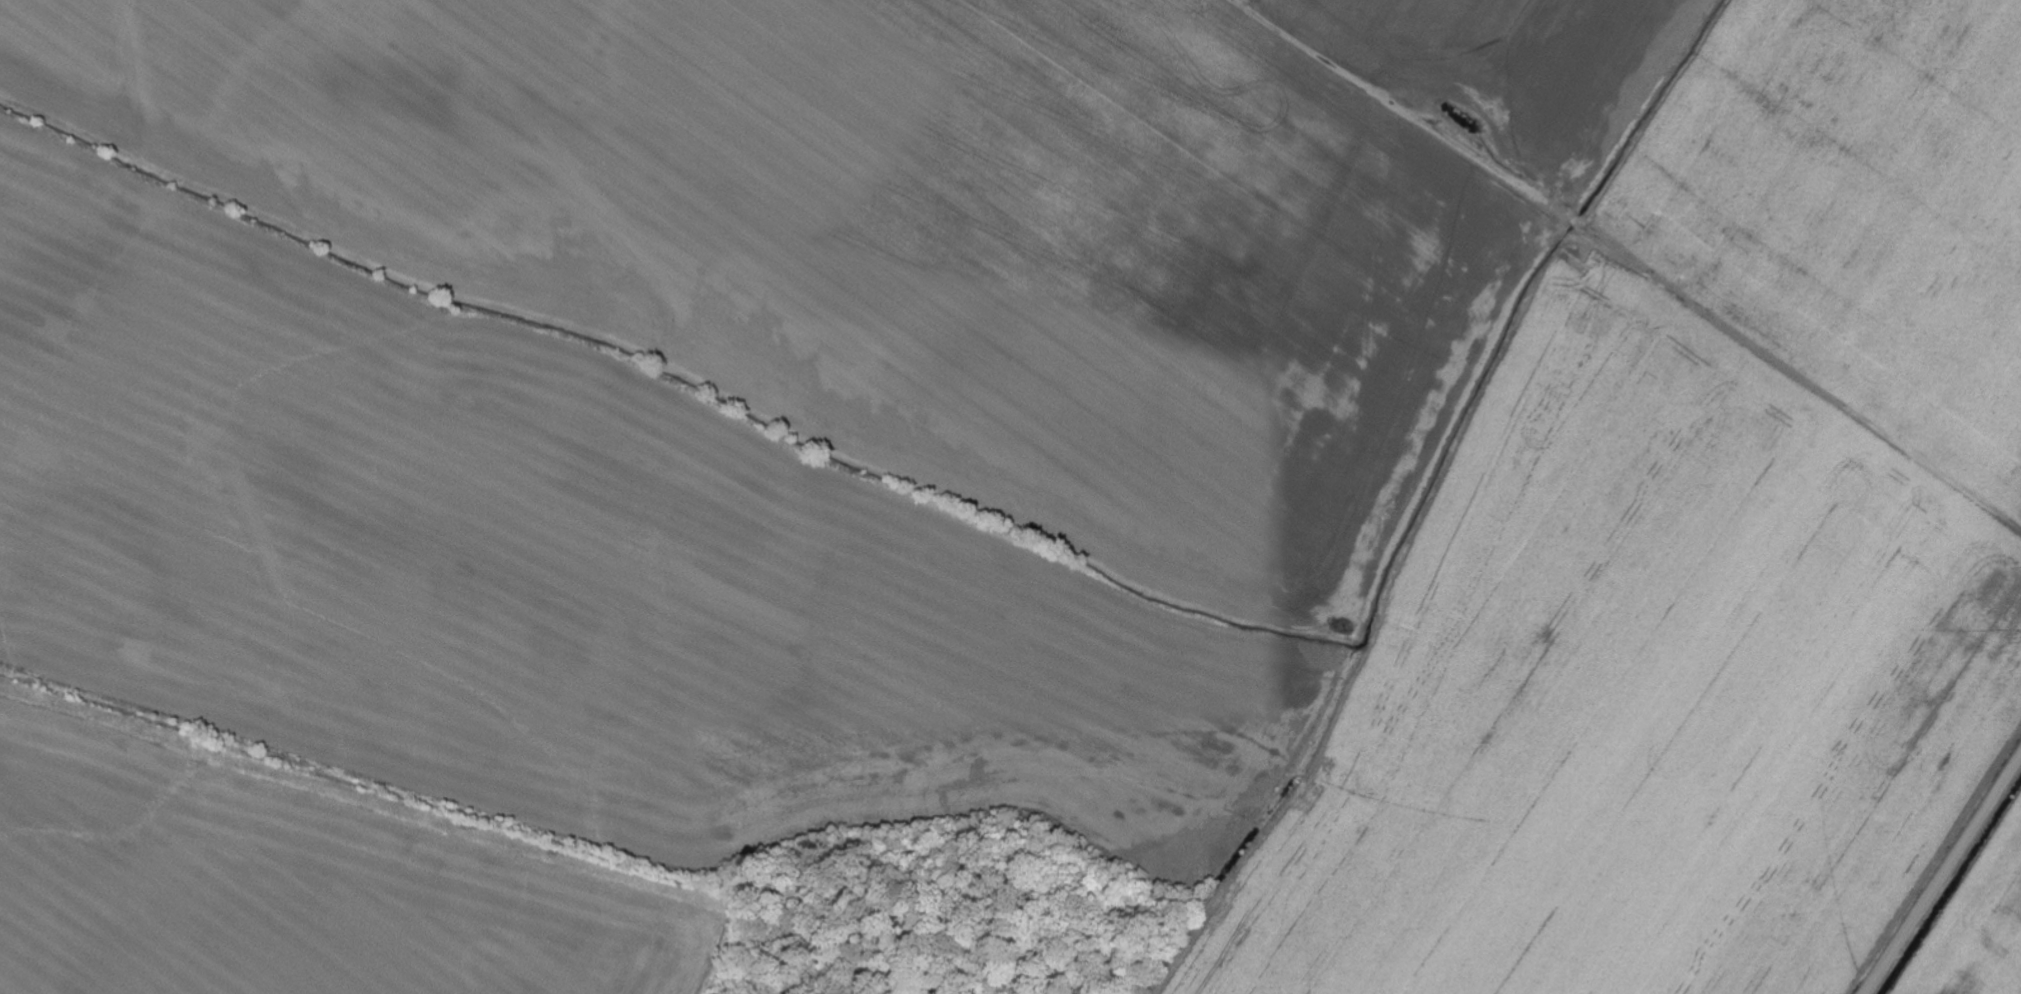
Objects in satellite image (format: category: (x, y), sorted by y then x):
road: (1944, 876)

